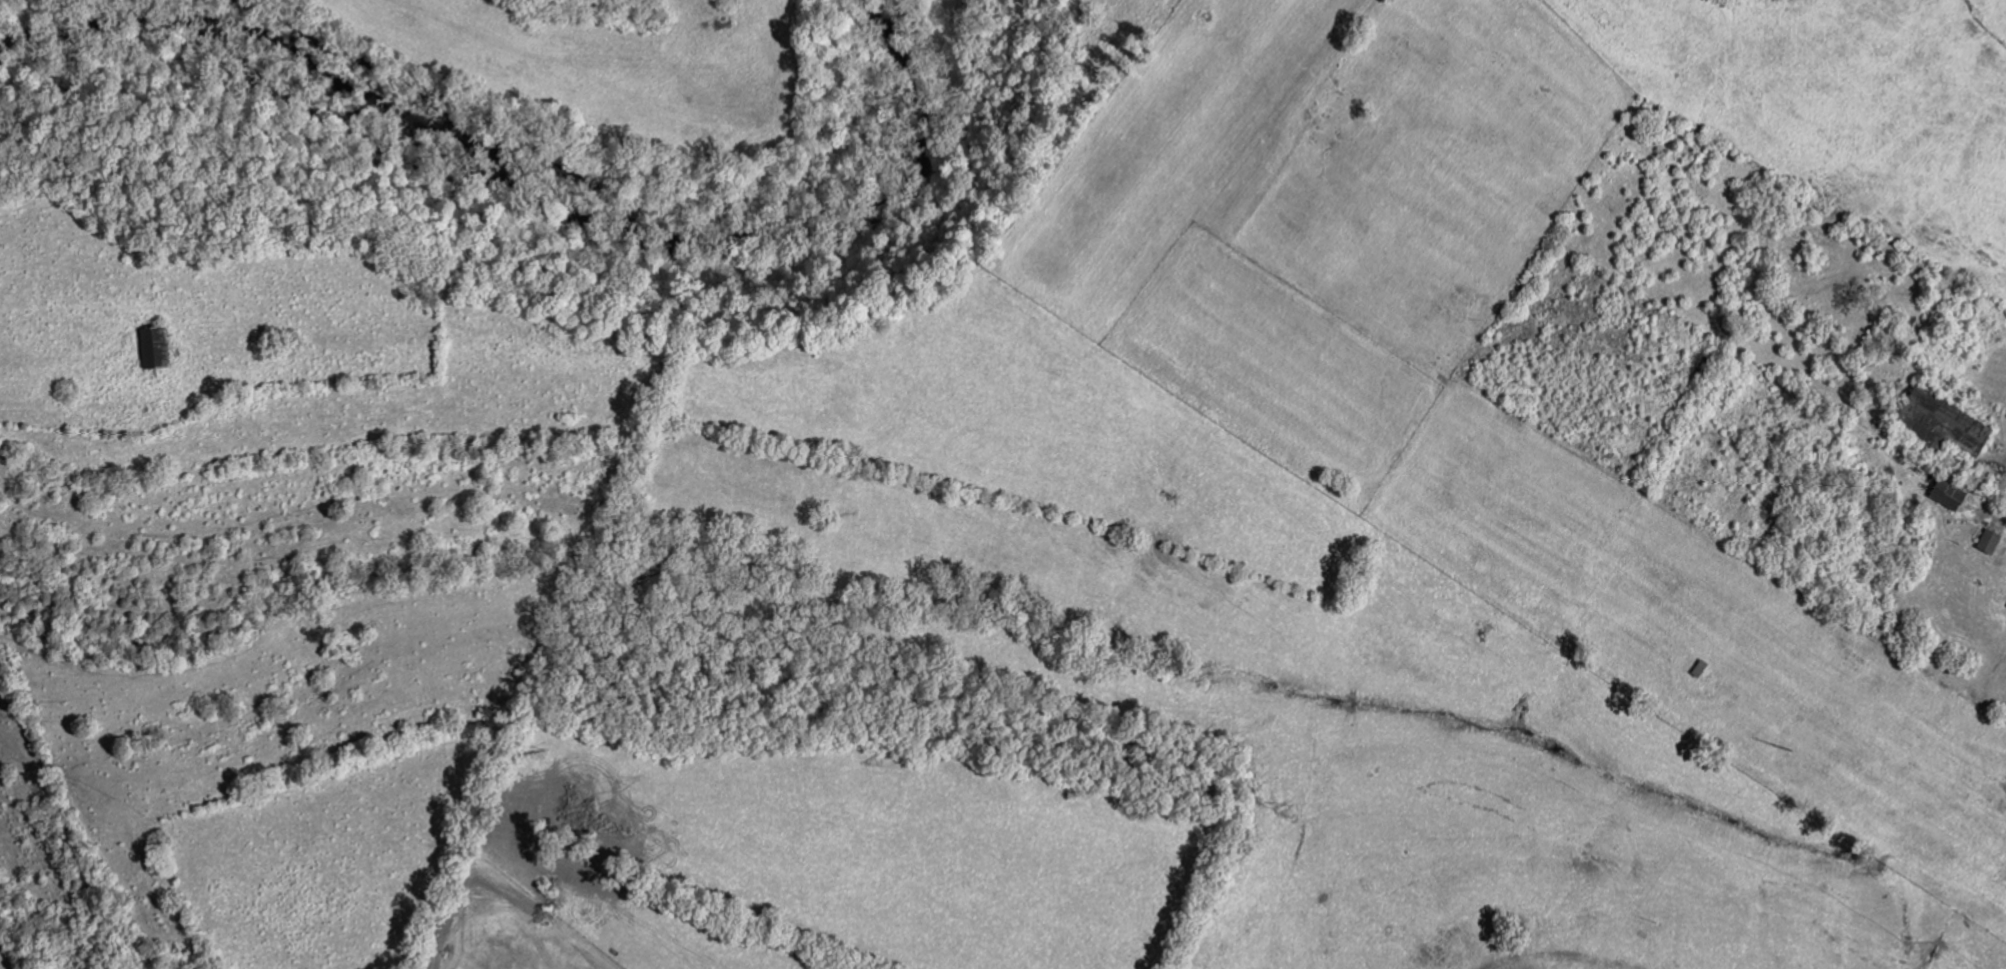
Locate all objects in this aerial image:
building: (151, 348)
building: (1937, 422)
building: (1945, 495)
building: (1986, 542)

